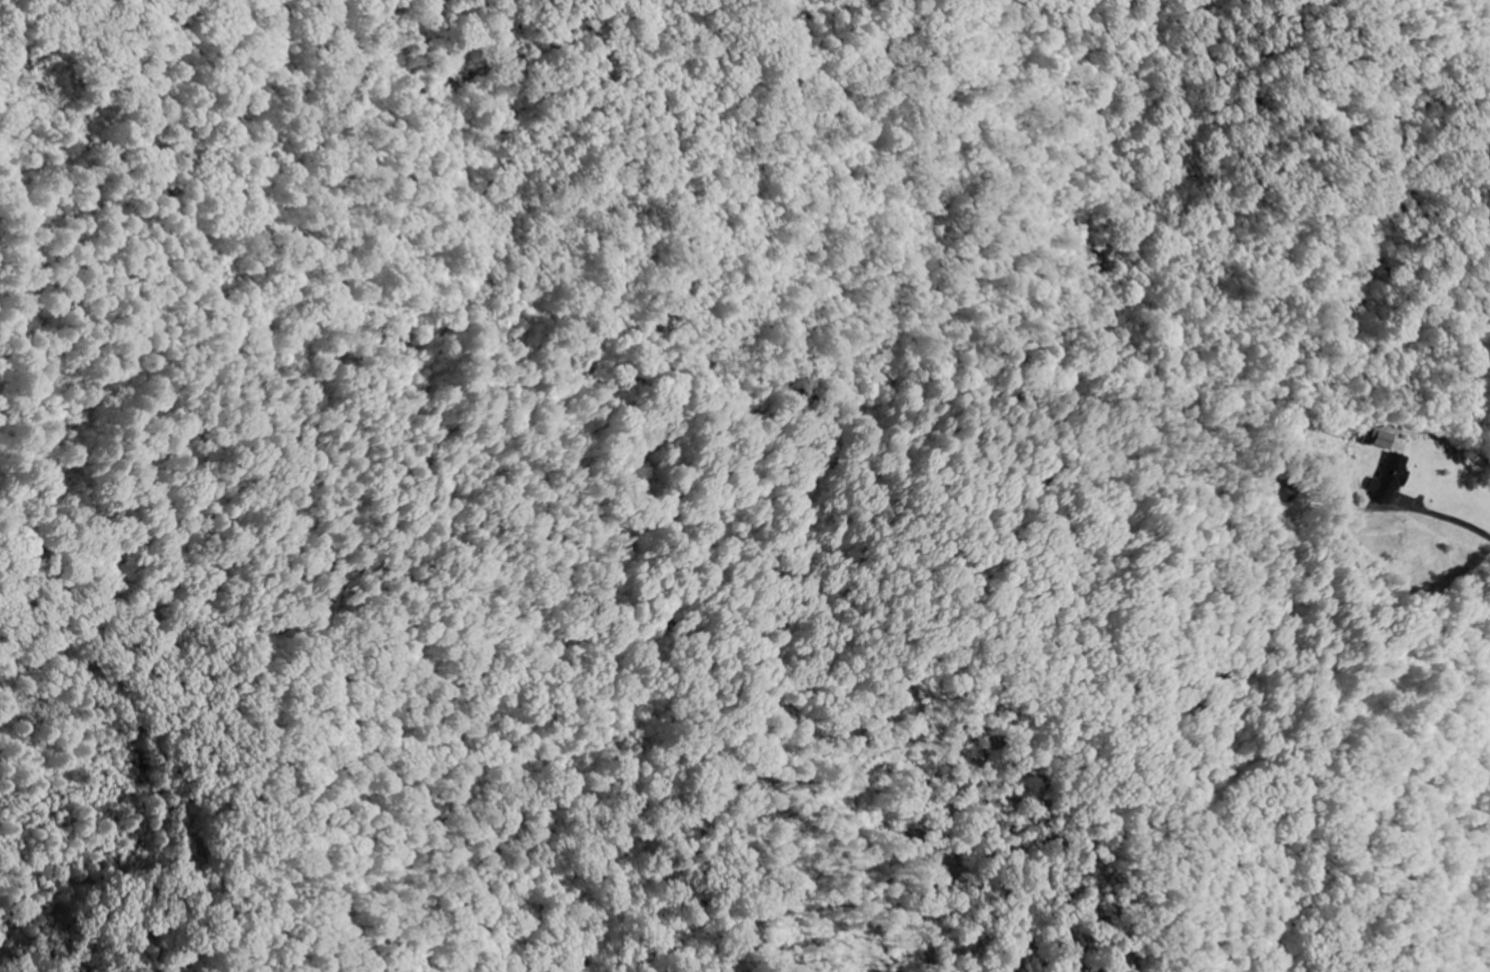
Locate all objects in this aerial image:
building: (1390, 481)
road: (1455, 519)

